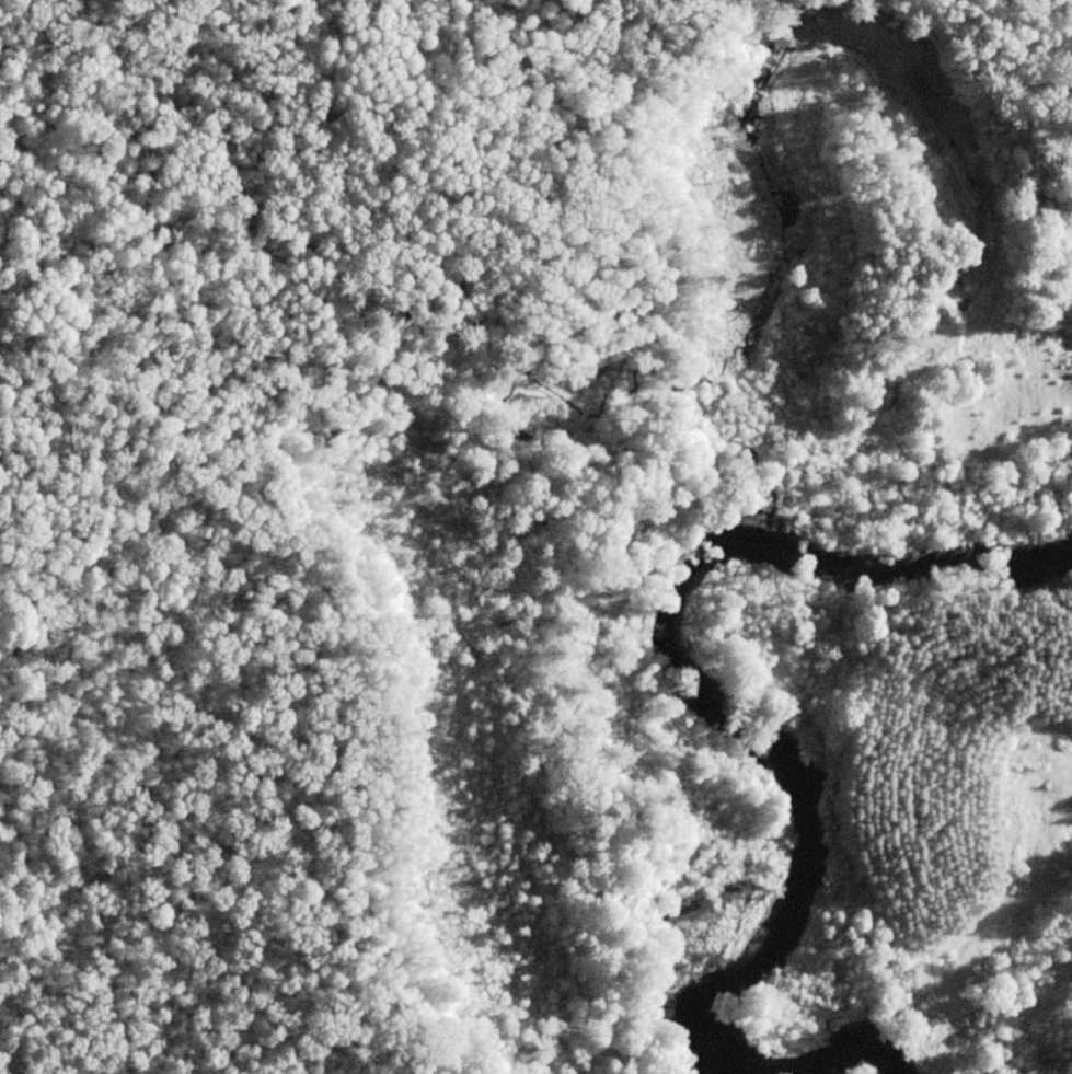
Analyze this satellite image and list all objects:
river: (689, 672)
river: (831, 1051)

